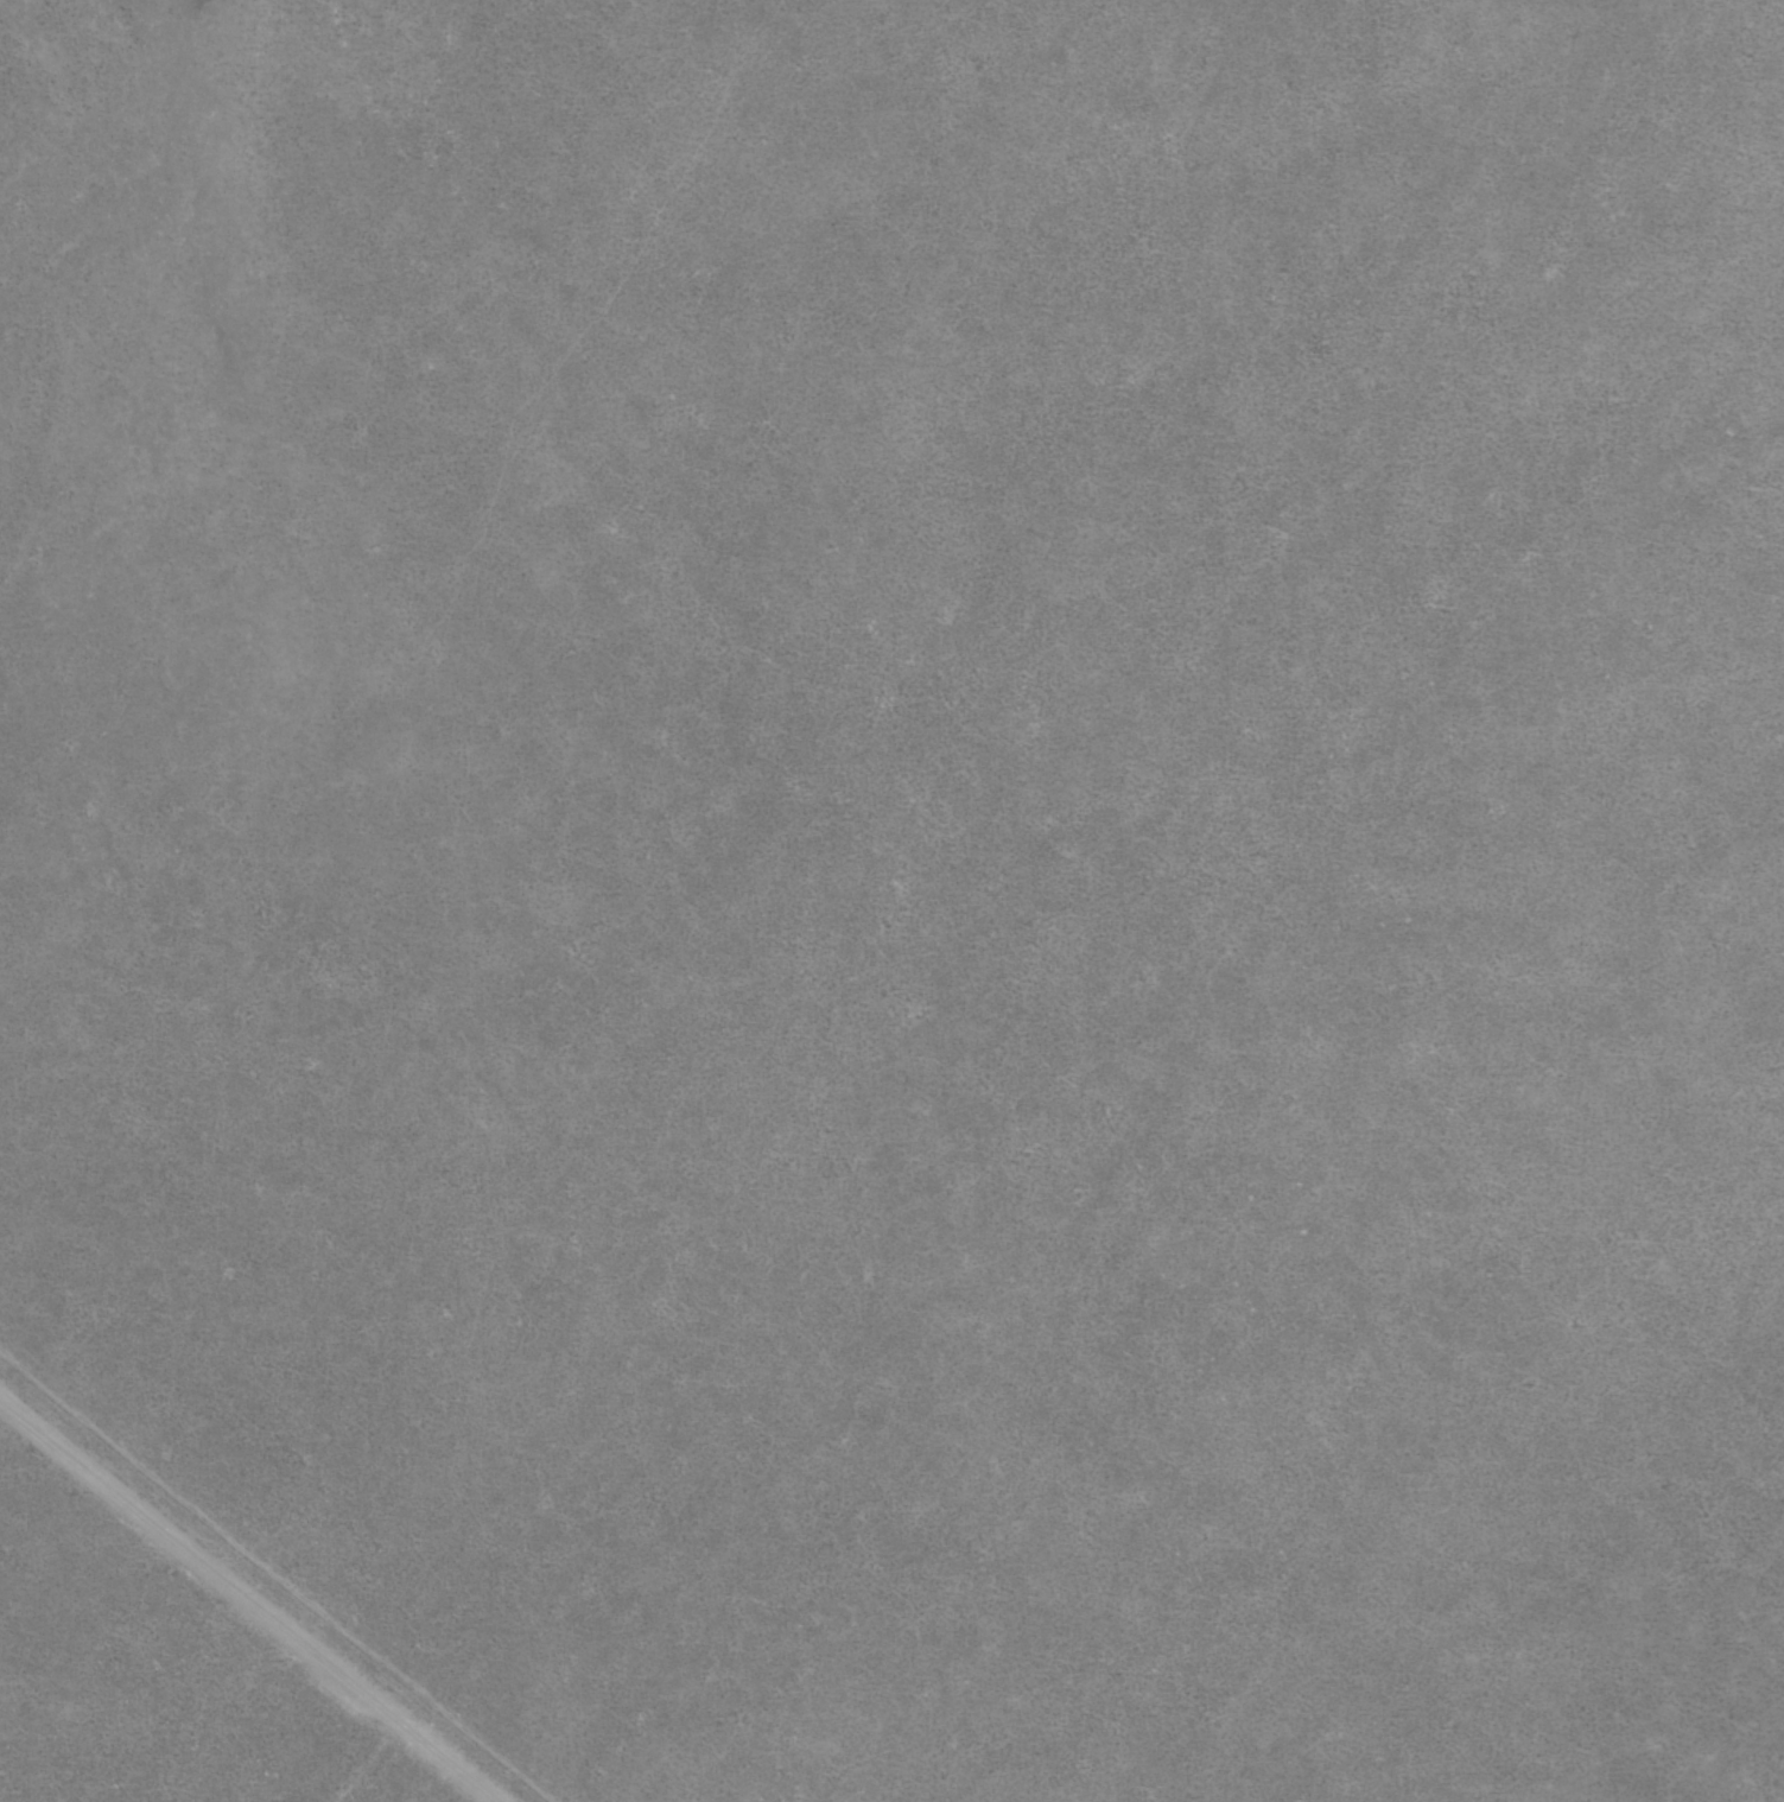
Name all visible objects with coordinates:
road: (254, 1597)

